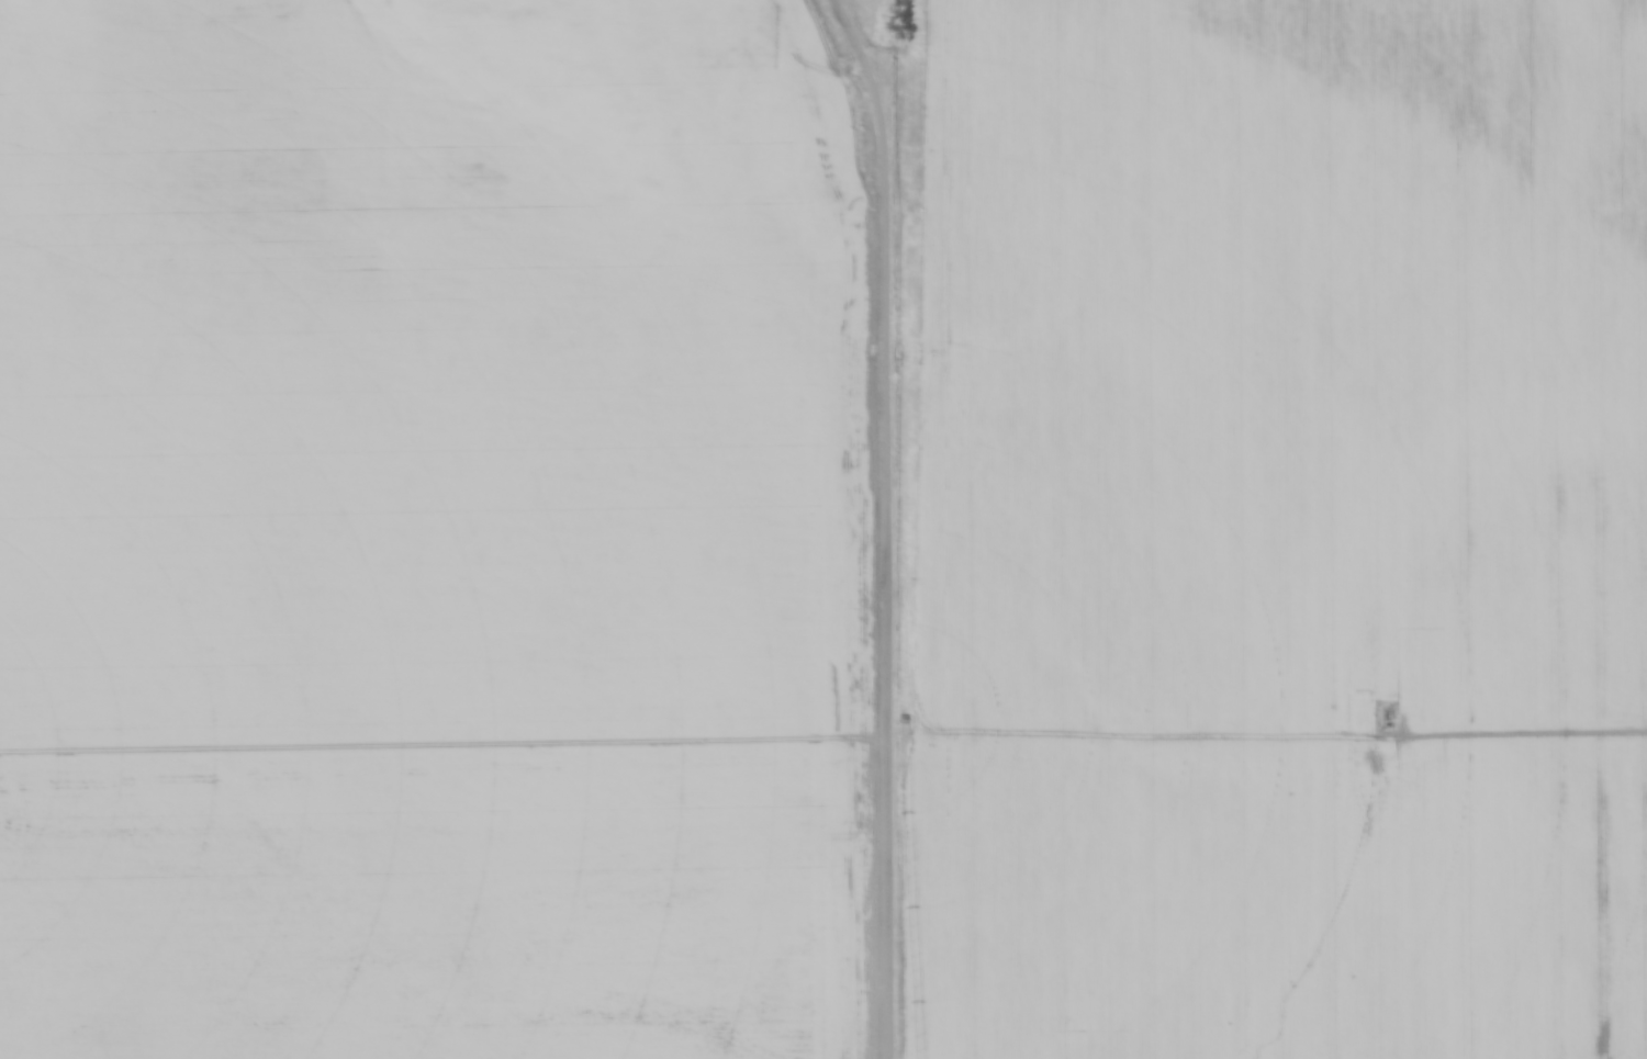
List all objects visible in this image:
road: (883, 523)

